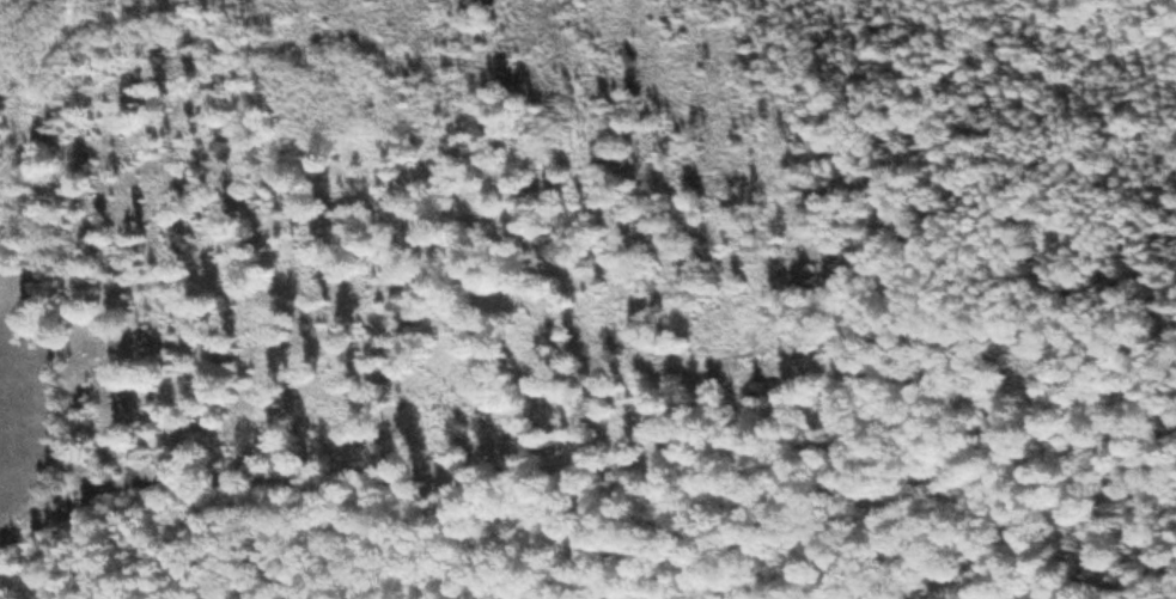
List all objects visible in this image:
road: (0, 595)

